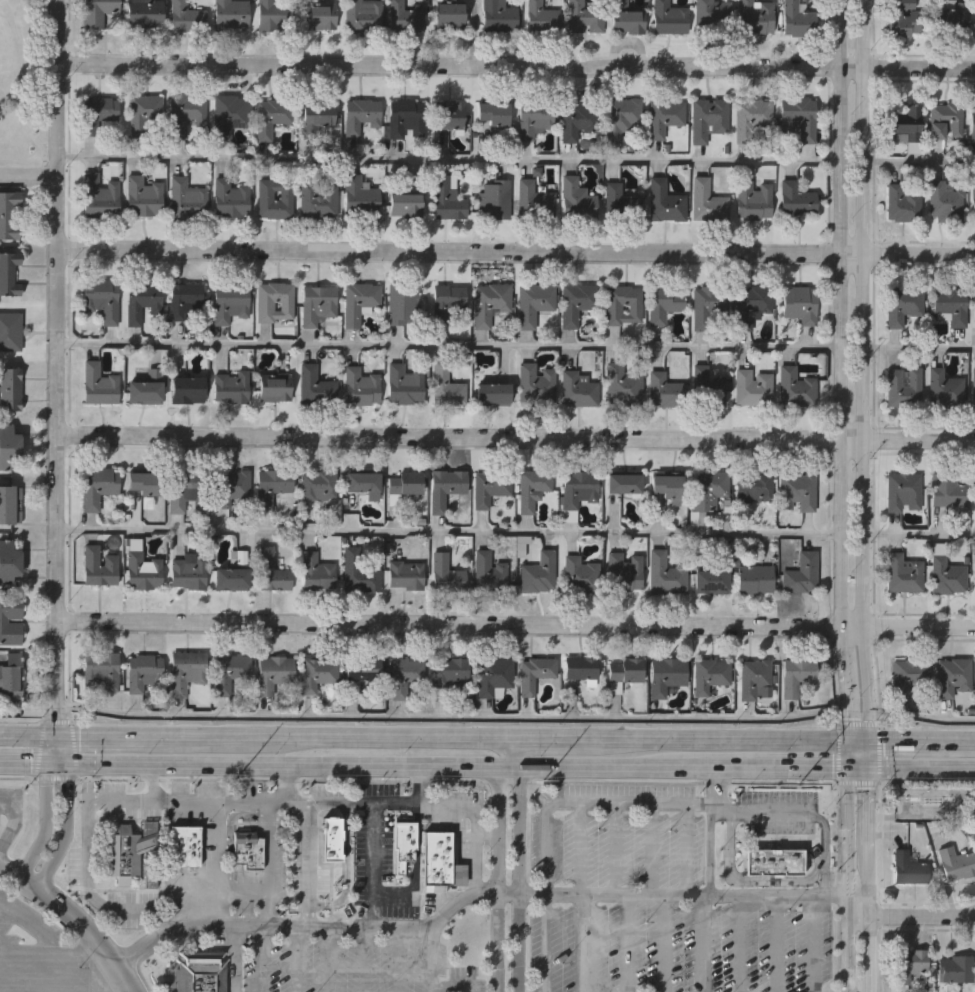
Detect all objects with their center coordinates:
road: (6, 4)
building: (96, 12)
building: (143, 13)
building: (230, 14)
building: (450, 14)
building: (274, 15)
building: (405, 15)
building: (362, 16)
building: (712, 16)
building: (950, 16)
building: (185, 17)
building: (318, 17)
building: (498, 17)
building: (584, 17)
building: (669, 17)
building: (754, 17)
building: (901, 17)
building: (626, 18)
building: (541, 19)
building: (797, 19)
road: (516, 64)
park: (24, 86)
road: (22, 92)
building: (98, 113)
building: (185, 113)
building: (229, 114)
building: (145, 115)
building: (449, 115)
building: (491, 116)
building: (271, 117)
building: (362, 117)
building: (665, 117)
building: (798, 117)
building: (406, 118)
building: (622, 118)
building: (317, 119)
building: (534, 119)
building: (708, 119)
building: (753, 119)
building: (578, 121)
building: (944, 121)
building: (904, 122)
building: (973, 126)
road: (449, 160)
road: (918, 162)
road: (28, 175)
building: (143, 197)
building: (360, 197)
building: (99, 198)
building: (231, 198)
building: (275, 198)
building: (319, 198)
building: (448, 198)
building: (796, 198)
building: (186, 199)
building: (496, 199)
building: (534, 200)
building: (576, 200)
building: (754, 200)
building: (664, 201)
building: (708, 202)
building: (944, 202)
building: (620, 203)
building: (902, 203)
building: (973, 203)
building: (405, 205)
building: (9, 214)
road: (516, 250)
building: (10, 272)
building: (101, 299)
building: (184, 299)
building: (140, 300)
building: (275, 302)
building: (360, 302)
building: (448, 302)
building: (664, 302)
building: (229, 303)
building: (490, 303)
building: (577, 303)
building: (533, 304)
building: (752, 304)
building: (799, 304)
building: (901, 304)
building: (317, 305)
building: (403, 305)
building: (623, 306)
building: (950, 306)
building: (708, 308)
building: (974, 315)
building: (11, 329)
road: (448, 346)
road: (918, 349)
road: (840, 353)
road: (860, 354)
road: (57, 368)
building: (98, 385)
building: (404, 385)
building: (536, 385)
building: (315, 386)
building: (447, 386)
building: (622, 386)
building: (230, 387)
building: (361, 387)
building: (11, 388)
building: (145, 388)
building: (274, 388)
building: (796, 388)
building: (902, 388)
building: (753, 389)
building: (973, 389)
building: (186, 390)
building: (578, 390)
building: (944, 390)
building: (665, 391)
building: (709, 392)
building: (492, 394)
road: (515, 436)
building: (9, 445)
building: (622, 483)
building: (142, 484)
building: (404, 484)
building: (318, 485)
building: (97, 486)
building: (272, 486)
building: (360, 487)
building: (490, 487)
building: (755, 487)
building: (231, 488)
building: (445, 488)
building: (667, 488)
building: (578, 489)
building: (708, 489)
building: (185, 490)
building: (532, 490)
building: (797, 490)
building: (945, 491)
building: (902, 493)
building: (974, 494)
building: (10, 504)
road: (448, 532)
road: (917, 534)
building: (10, 561)
building: (98, 567)
building: (142, 572)
building: (188, 572)
building: (271, 572)
building: (316, 573)
building: (359, 573)
building: (490, 573)
building: (625, 573)
building: (538, 574)
building: (802, 574)
building: (902, 574)
building: (974, 574)
building: (405, 575)
building: (446, 575)
building: (666, 575)
building: (580, 576)
building: (946, 578)
building: (230, 579)
building: (755, 580)
building: (710, 582)
building: (3, 621)
road: (515, 623)
building: (580, 669)
building: (101, 670)
building: (185, 671)
building: (451, 672)
building: (623, 672)
building: (231, 673)
building: (317, 673)
building: (535, 673)
building: (274, 674)
building: (145, 675)
building: (666, 675)
building: (711, 675)
building: (907, 675)
building: (12, 676)
building: (404, 676)
building: (495, 676)
building: (797, 676)
building: (754, 678)
building: (952, 678)
building: (366, 680)
road: (453, 719)
road: (921, 719)
road: (21, 720)
road: (56, 720)
road: (455, 722)
road: (849, 722)
road: (869, 724)
road: (857, 725)
road: (28, 736)
traffic signals: (57, 737)
road: (107, 737)
road: (333, 737)
road: (547, 738)
road: (717, 738)
traffic signals: (849, 738)
road: (859, 738)
traffic signals: (870, 739)
road: (917, 739)
road: (970, 739)
road: (38, 749)
road: (57, 749)
road: (73, 749)
road: (509, 751)
road: (849, 752)
road: (870, 752)
road: (878, 753)
road: (837, 754)
road: (28, 760)
traffic signals: (58, 761)
road: (283, 762)
road: (583, 764)
road: (753, 765)
traffic signals: (849, 766)
road: (859, 766)
traffic signals: (870, 766)
road: (922, 766)
road: (17, 776)
road: (55, 778)
road: (457, 780)
road: (284, 782)
road: (421, 783)
road: (858, 783)
road: (337, 803)
road: (869, 812)
road: (805, 814)
road: (8, 818)
road: (45, 820)
road: (66, 826)
road: (87, 826)
road: (710, 830)
building: (329, 841)
building: (403, 845)
building: (186, 846)
building: (248, 849)
building: (127, 852)
building: (438, 860)
building: (774, 861)
road: (218, 863)
road: (269, 864)
road: (309, 864)
building: (954, 864)
road: (373, 865)
road: (476, 865)
road: (416, 866)
building: (906, 868)
road: (498, 876)
road: (518, 876)
road: (845, 878)
road: (746, 880)
road: (867, 887)
road: (508, 893)
road: (614, 894)
road: (777, 896)
road: (856, 916)
road: (921, 918)
road: (156, 919)
road: (74, 920)
road: (306, 925)
parking lot: (41, 952)
road: (867, 954)
road: (259, 958)
building: (906, 964)
building: (956, 969)
building: (200, 971)

